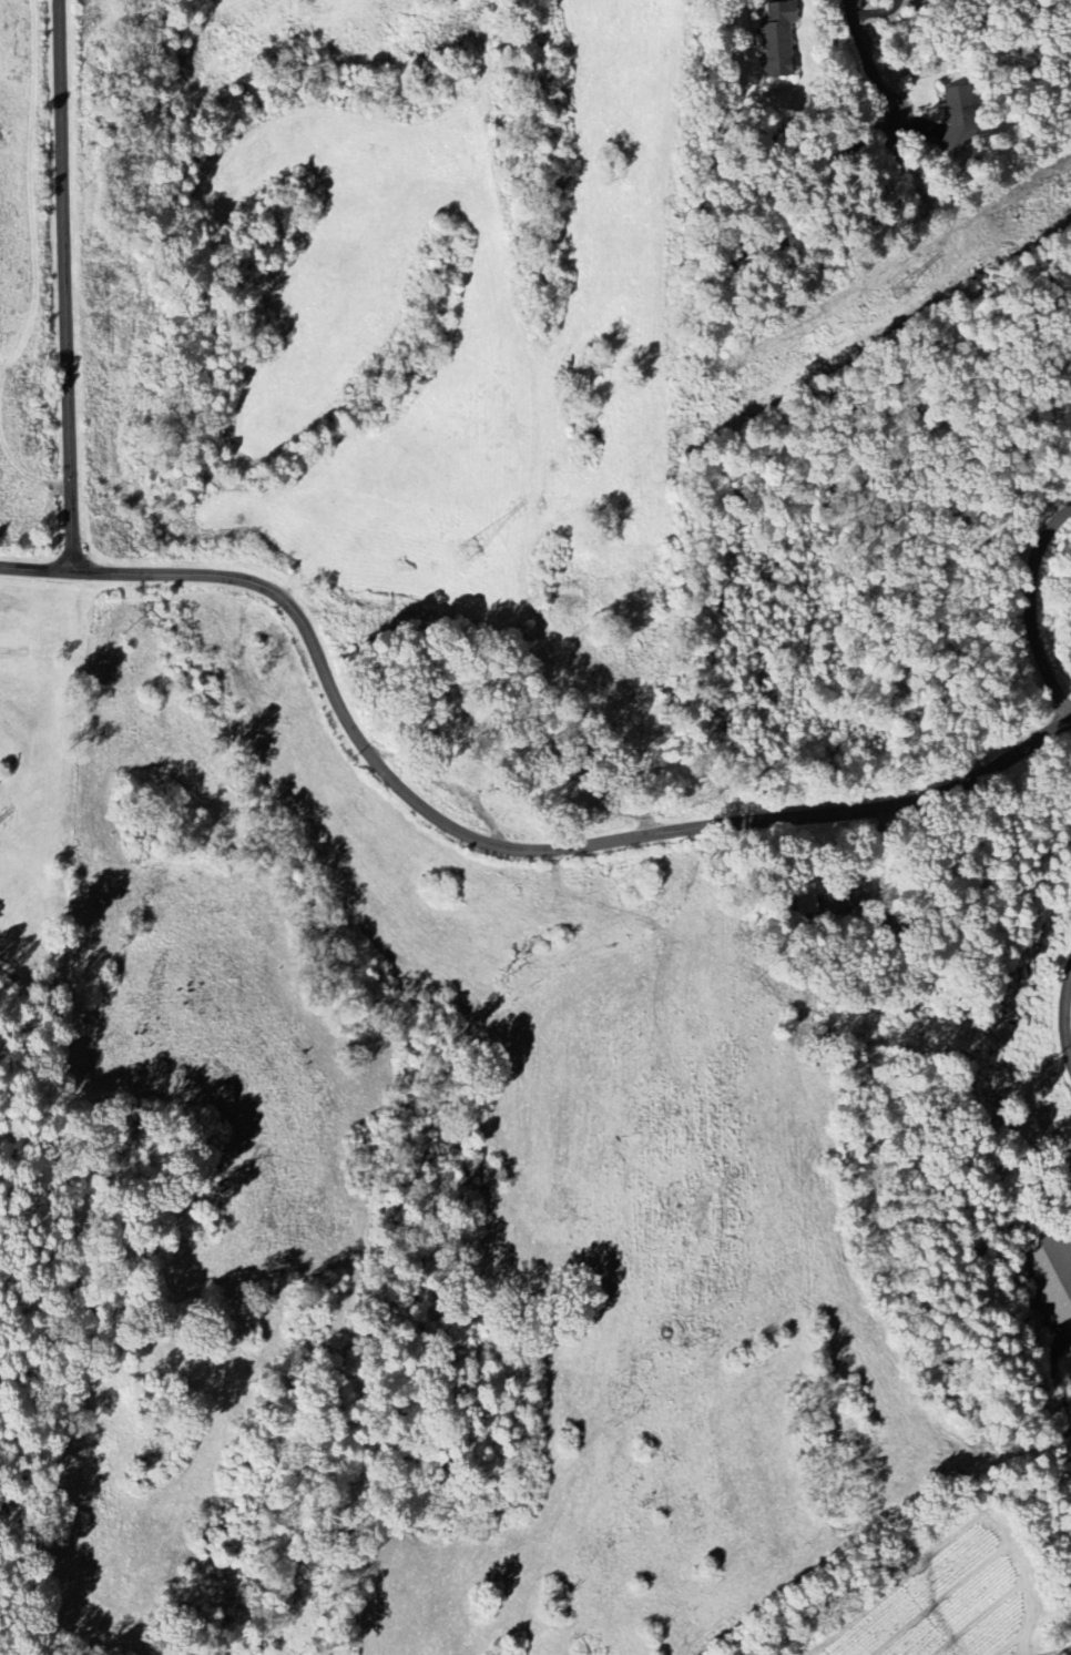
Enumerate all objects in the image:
building: (775, 42)
road: (868, 55)
building: (955, 118)
power tower: (1062, 187)
power tower: (897, 284)
road: (67, 293)
power tower: (469, 548)
road: (1029, 609)
road: (482, 844)
road: (1062, 1017)
building: (1045, 1278)

